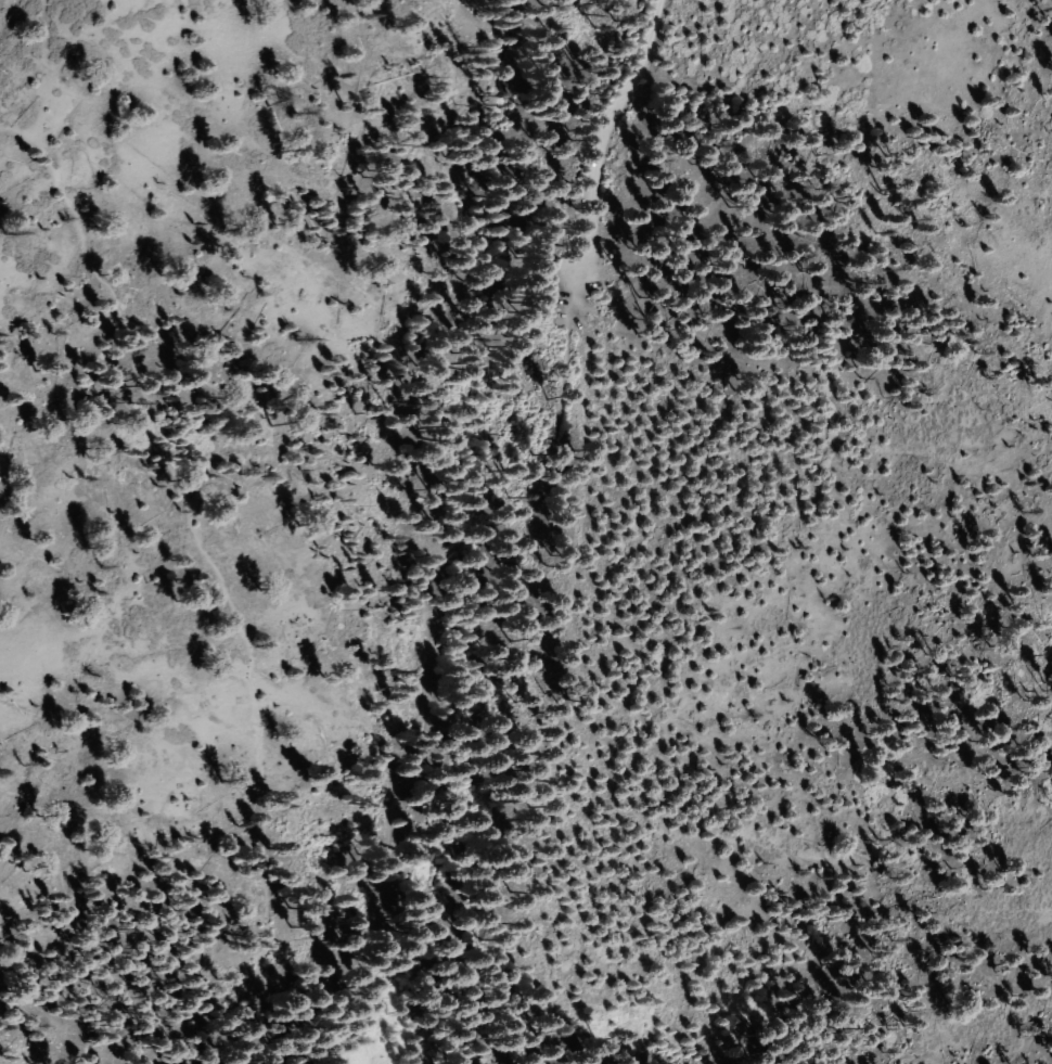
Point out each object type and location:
road: (587, 213)
parking lot: (539, 405)
road: (213, 572)
road: (408, 739)

